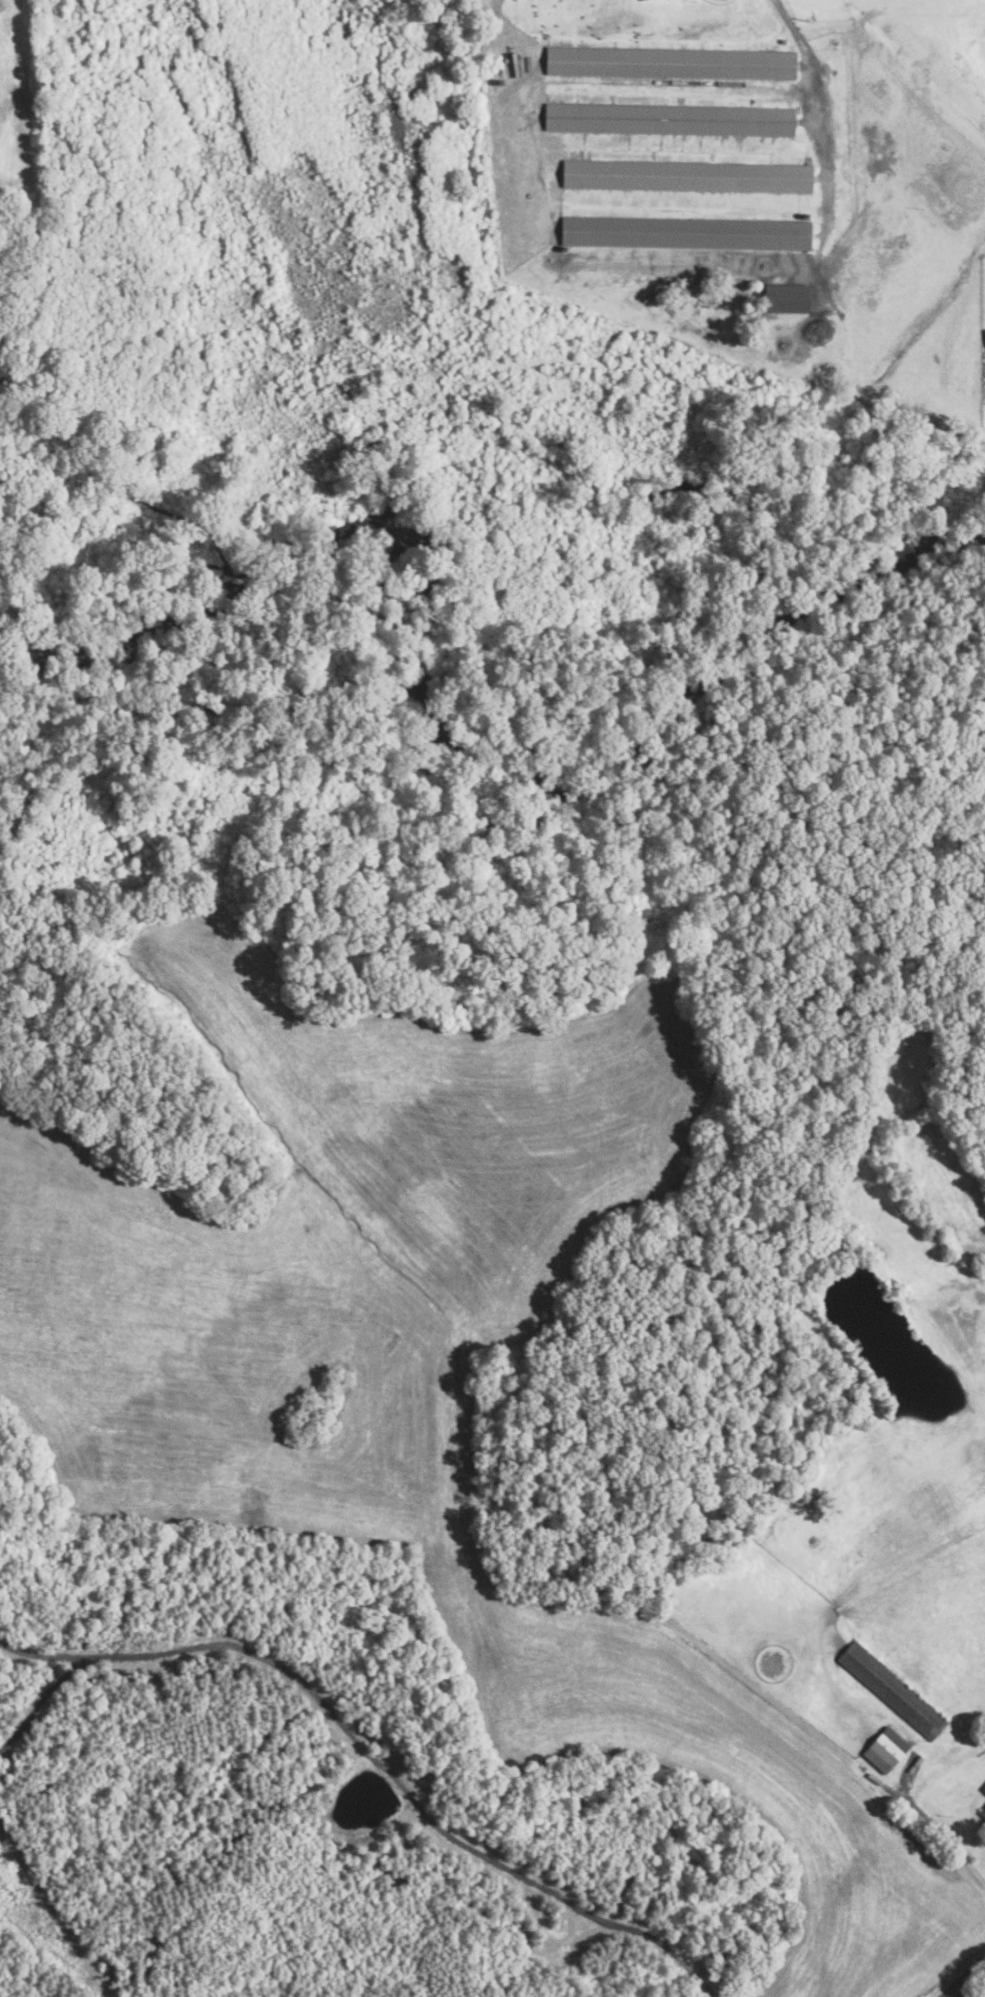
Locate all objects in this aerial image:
building: (638, 0)
building: (669, 63)
road: (819, 99)
building: (668, 119)
building: (686, 176)
building: (685, 232)
building: (786, 298)
building: (984, 333)
crop: (418, 1373)
road: (42, 1654)
building: (891, 1690)
road: (362, 1744)
building: (885, 1749)
building: (983, 1788)
building: (982, 1812)
road: (944, 1832)
road: (966, 1979)
road: (956, 1993)

